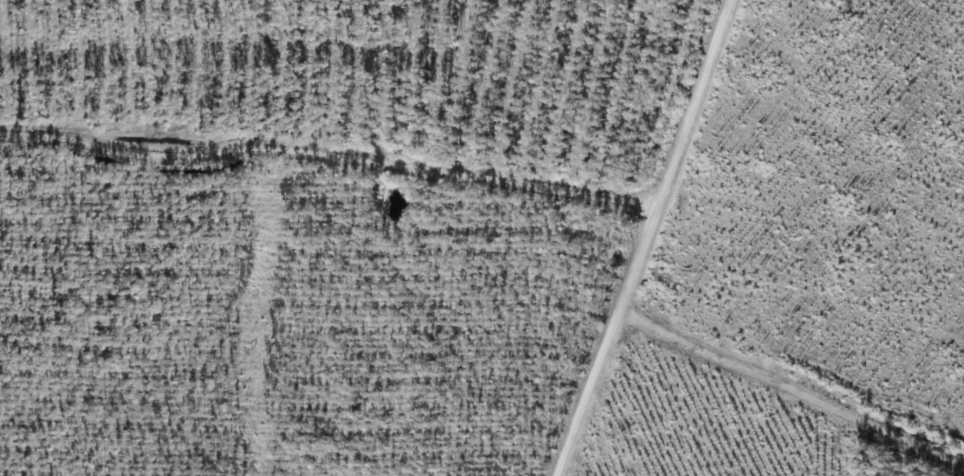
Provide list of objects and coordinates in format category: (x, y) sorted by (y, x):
road: (604, 232)

